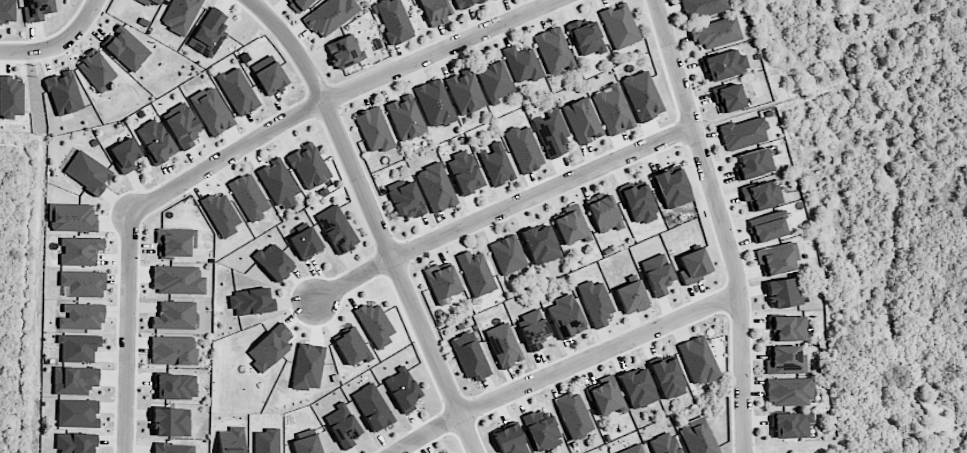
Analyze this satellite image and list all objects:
building: (152, 2)
building: (466, 3)
building: (298, 4)
building: (701, 8)
building: (37, 10)
building: (6, 11)
building: (435, 11)
building: (180, 15)
building: (330, 15)
building: (394, 20)
building: (619, 25)
building: (715, 32)
building: (208, 33)
road: (50, 36)
building: (585, 37)
road: (58, 43)
building: (125, 48)
building: (344, 50)
building: (553, 50)
building: (522, 63)
building: (724, 64)
building: (268, 74)
building: (494, 81)
building: (12, 84)
building: (237, 91)
building: (464, 91)
building: (63, 92)
road: (335, 94)
building: (642, 95)
building: (728, 97)
building: (434, 103)
building: (612, 109)
building: (211, 110)
building: (405, 117)
building: (582, 120)
building: (182, 125)
building: (374, 129)
building: (551, 132)
building: (742, 133)
building: (155, 140)
building: (524, 148)
building: (125, 154)
building: (496, 163)
building: (753, 163)
building: (308, 165)
building: (87, 172)
building: (464, 172)
building: (278, 183)
building: (671, 186)
building: (435, 187)
building: (760, 195)
building: (248, 196)
building: (405, 199)
building: (638, 202)
road: (500, 208)
building: (604, 213)
building: (72, 217)
road: (373, 218)
road: (722, 222)
building: (571, 225)
building: (767, 226)
building: (336, 228)
building: (175, 241)
building: (305, 242)
building: (540, 244)
building: (80, 250)
building: (508, 254)
building: (776, 258)
building: (274, 261)
building: (693, 265)
building: (475, 273)
building: (657, 274)
building: (177, 279)
building: (441, 282)
building: (83, 283)
building: (784, 292)
building: (631, 297)
building: (251, 301)
building: (596, 303)
building: (174, 315)
building: (81, 316)
building: (565, 316)
building: (374, 324)
building: (787, 327)
building: (533, 328)
road: (127, 332)
building: (504, 345)
building: (270, 346)
building: (78, 347)
building: (173, 350)
building: (470, 355)
building: (698, 360)
building: (784, 360)
road: (565, 367)
building: (667, 376)
building: (74, 380)
building: (175, 386)
building: (637, 387)
building: (402, 389)
building: (788, 391)
building: (606, 395)
building: (372, 406)
building: (77, 413)
building: (574, 415)
building: (170, 421)
building: (790, 424)
building: (342, 425)
building: (541, 429)
building: (698, 436)
building: (231, 440)
building: (509, 440)
building: (76, 442)
building: (664, 443)
building: (306, 444)
building: (173, 448)
building: (632, 449)
building: (447, 452)

